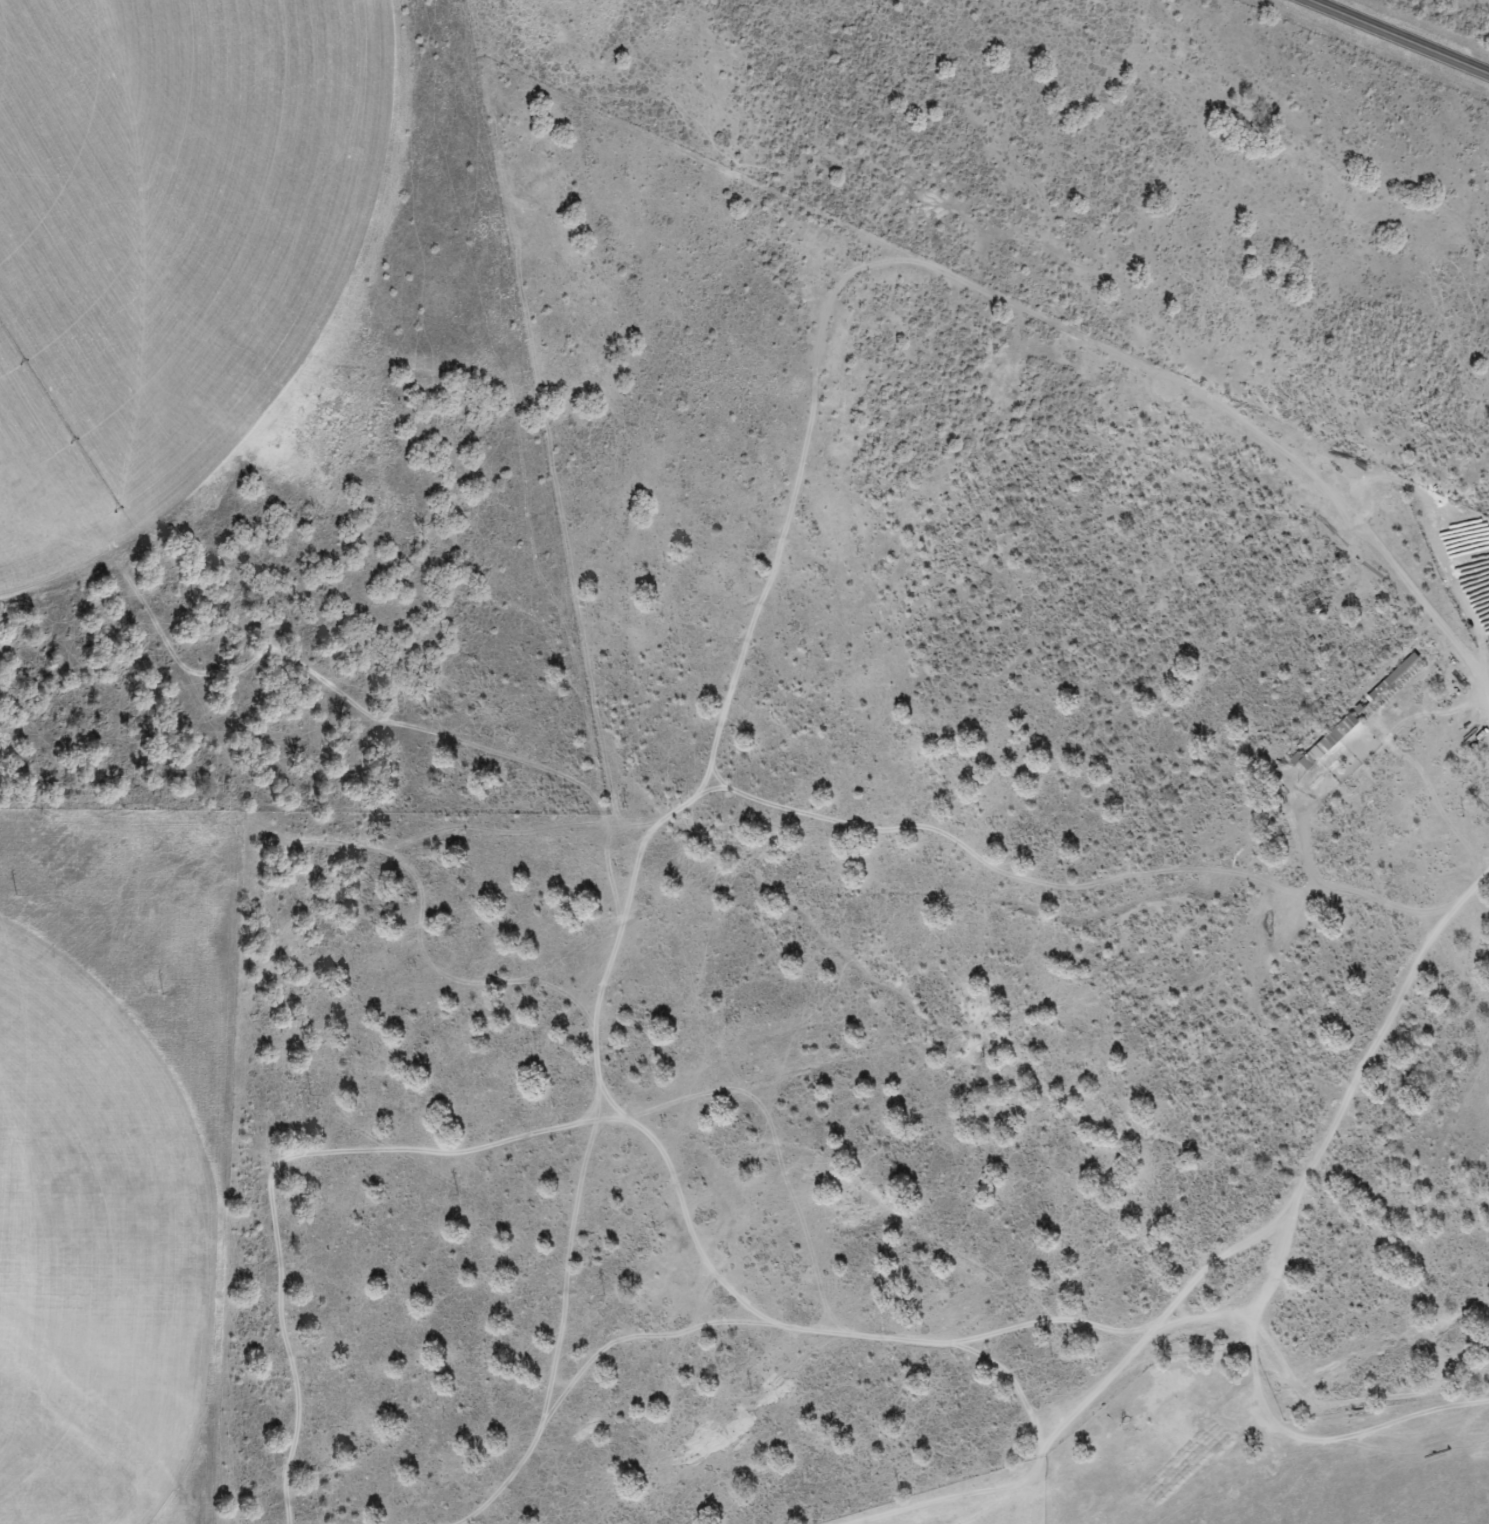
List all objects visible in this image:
road: (1399, 36)
crop: (167, 239)
building: (1390, 680)
building: (1327, 742)

